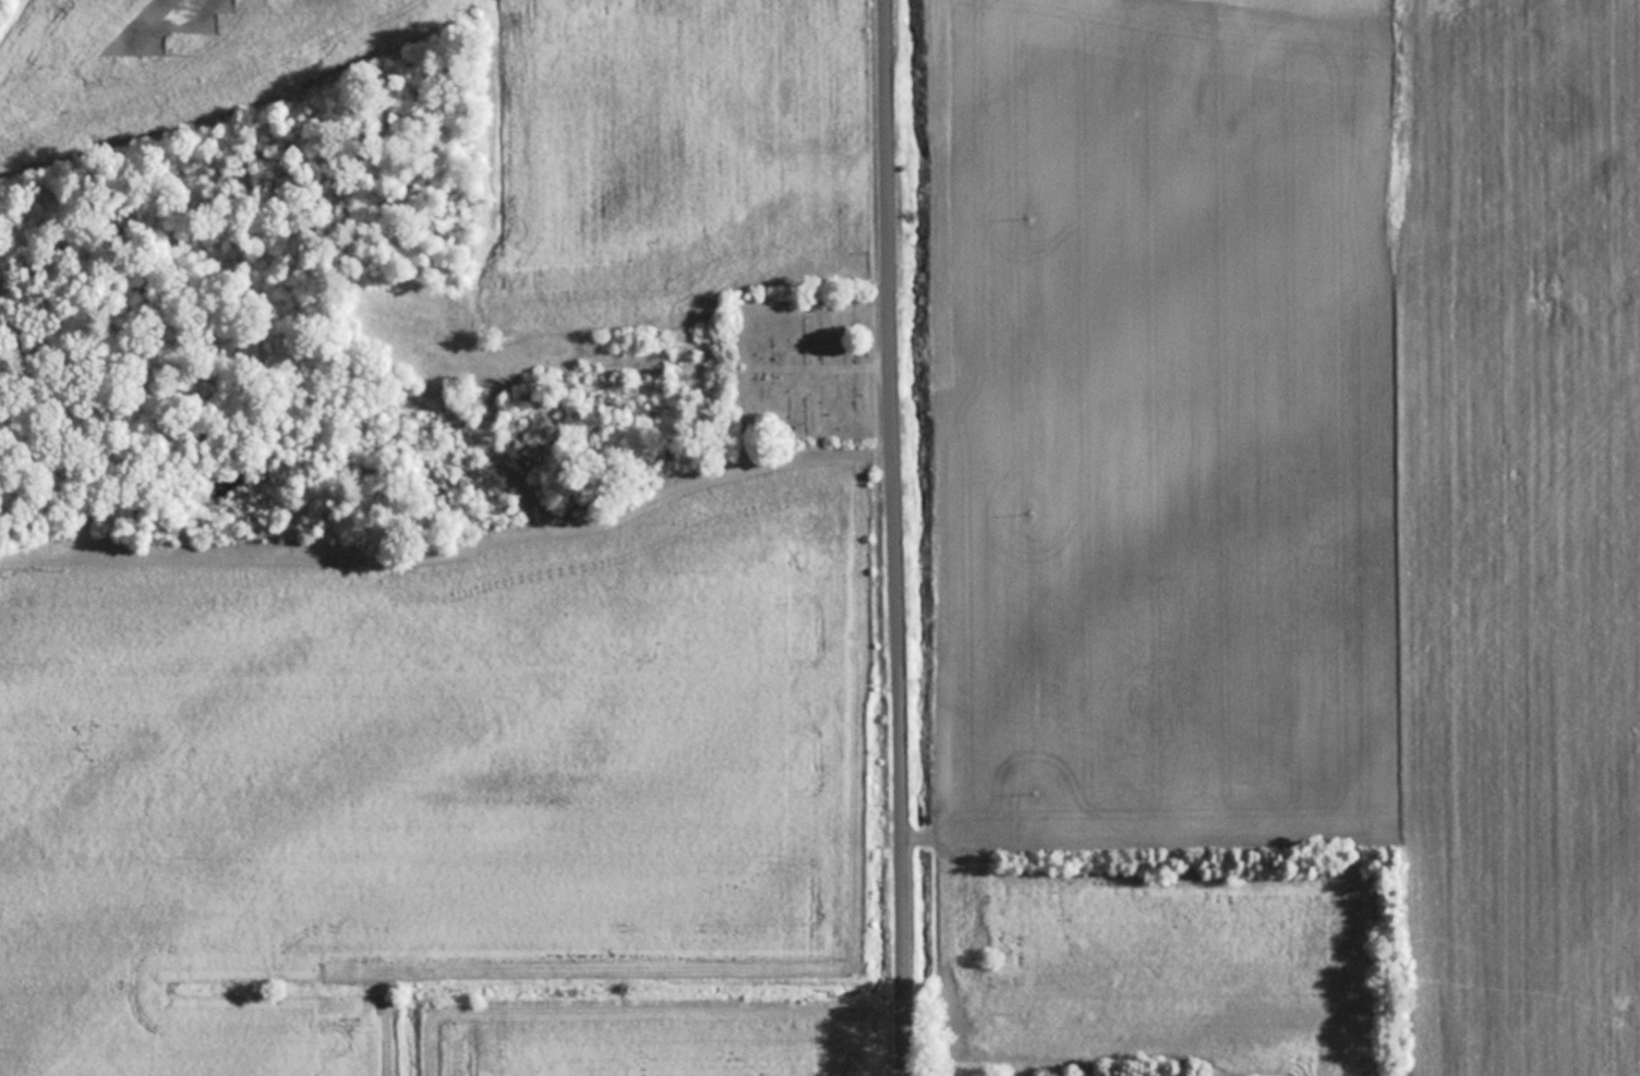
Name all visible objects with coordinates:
park: (805, 366)
road: (895, 537)

